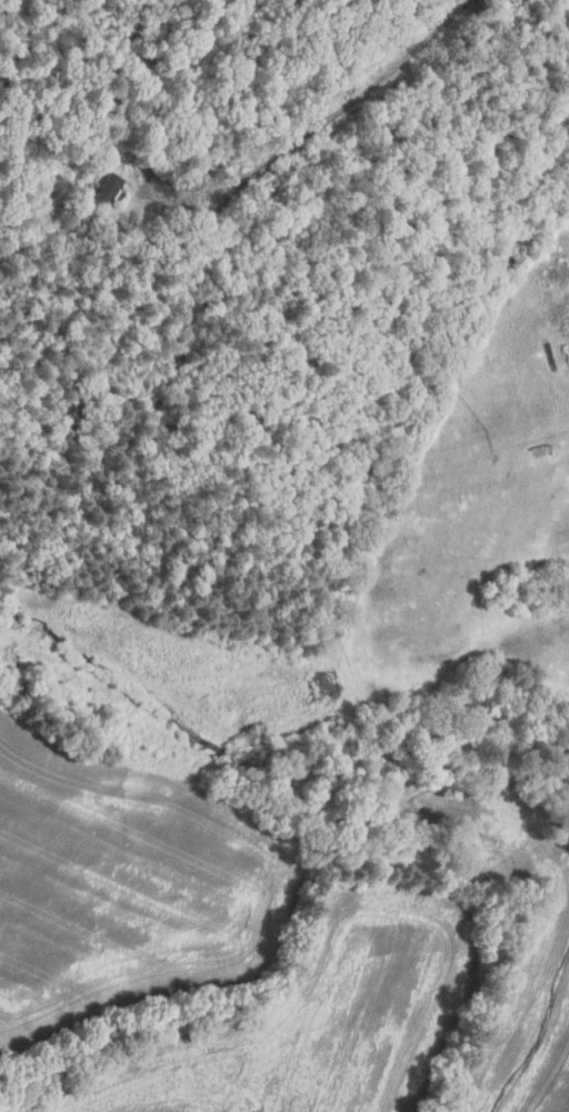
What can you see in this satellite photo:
road: (319, 127)
building: (108, 194)
building: (66, 217)

